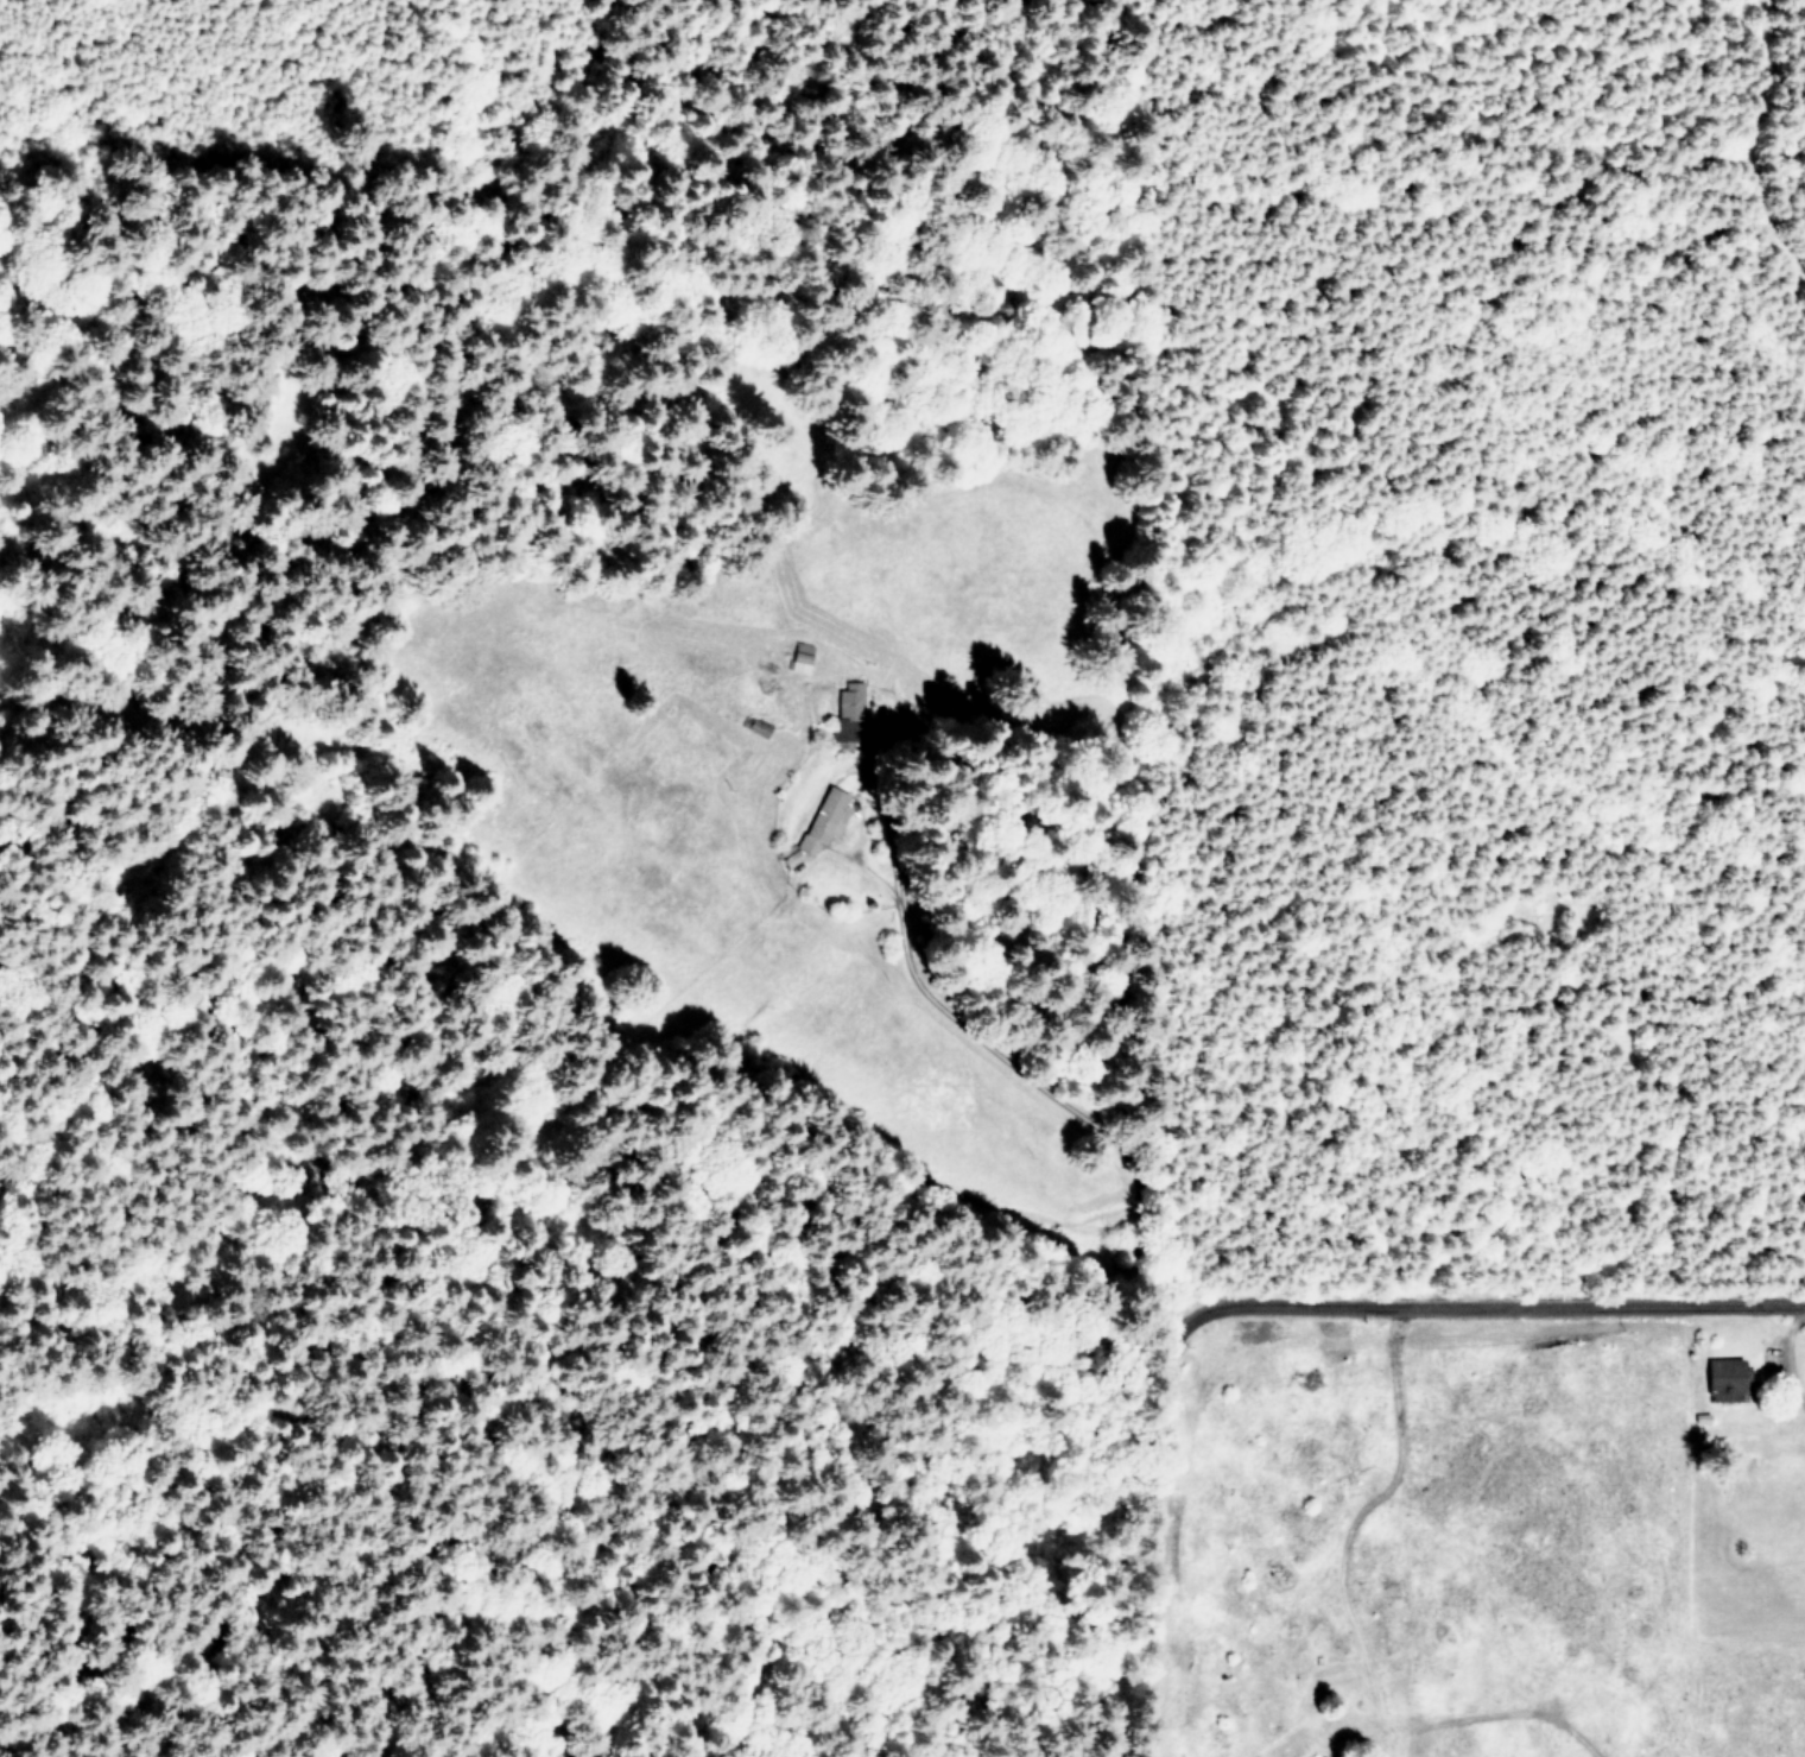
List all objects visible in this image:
building: (823, 817)
road: (1271, 1302)
road: (1780, 1357)
building: (1724, 1379)

